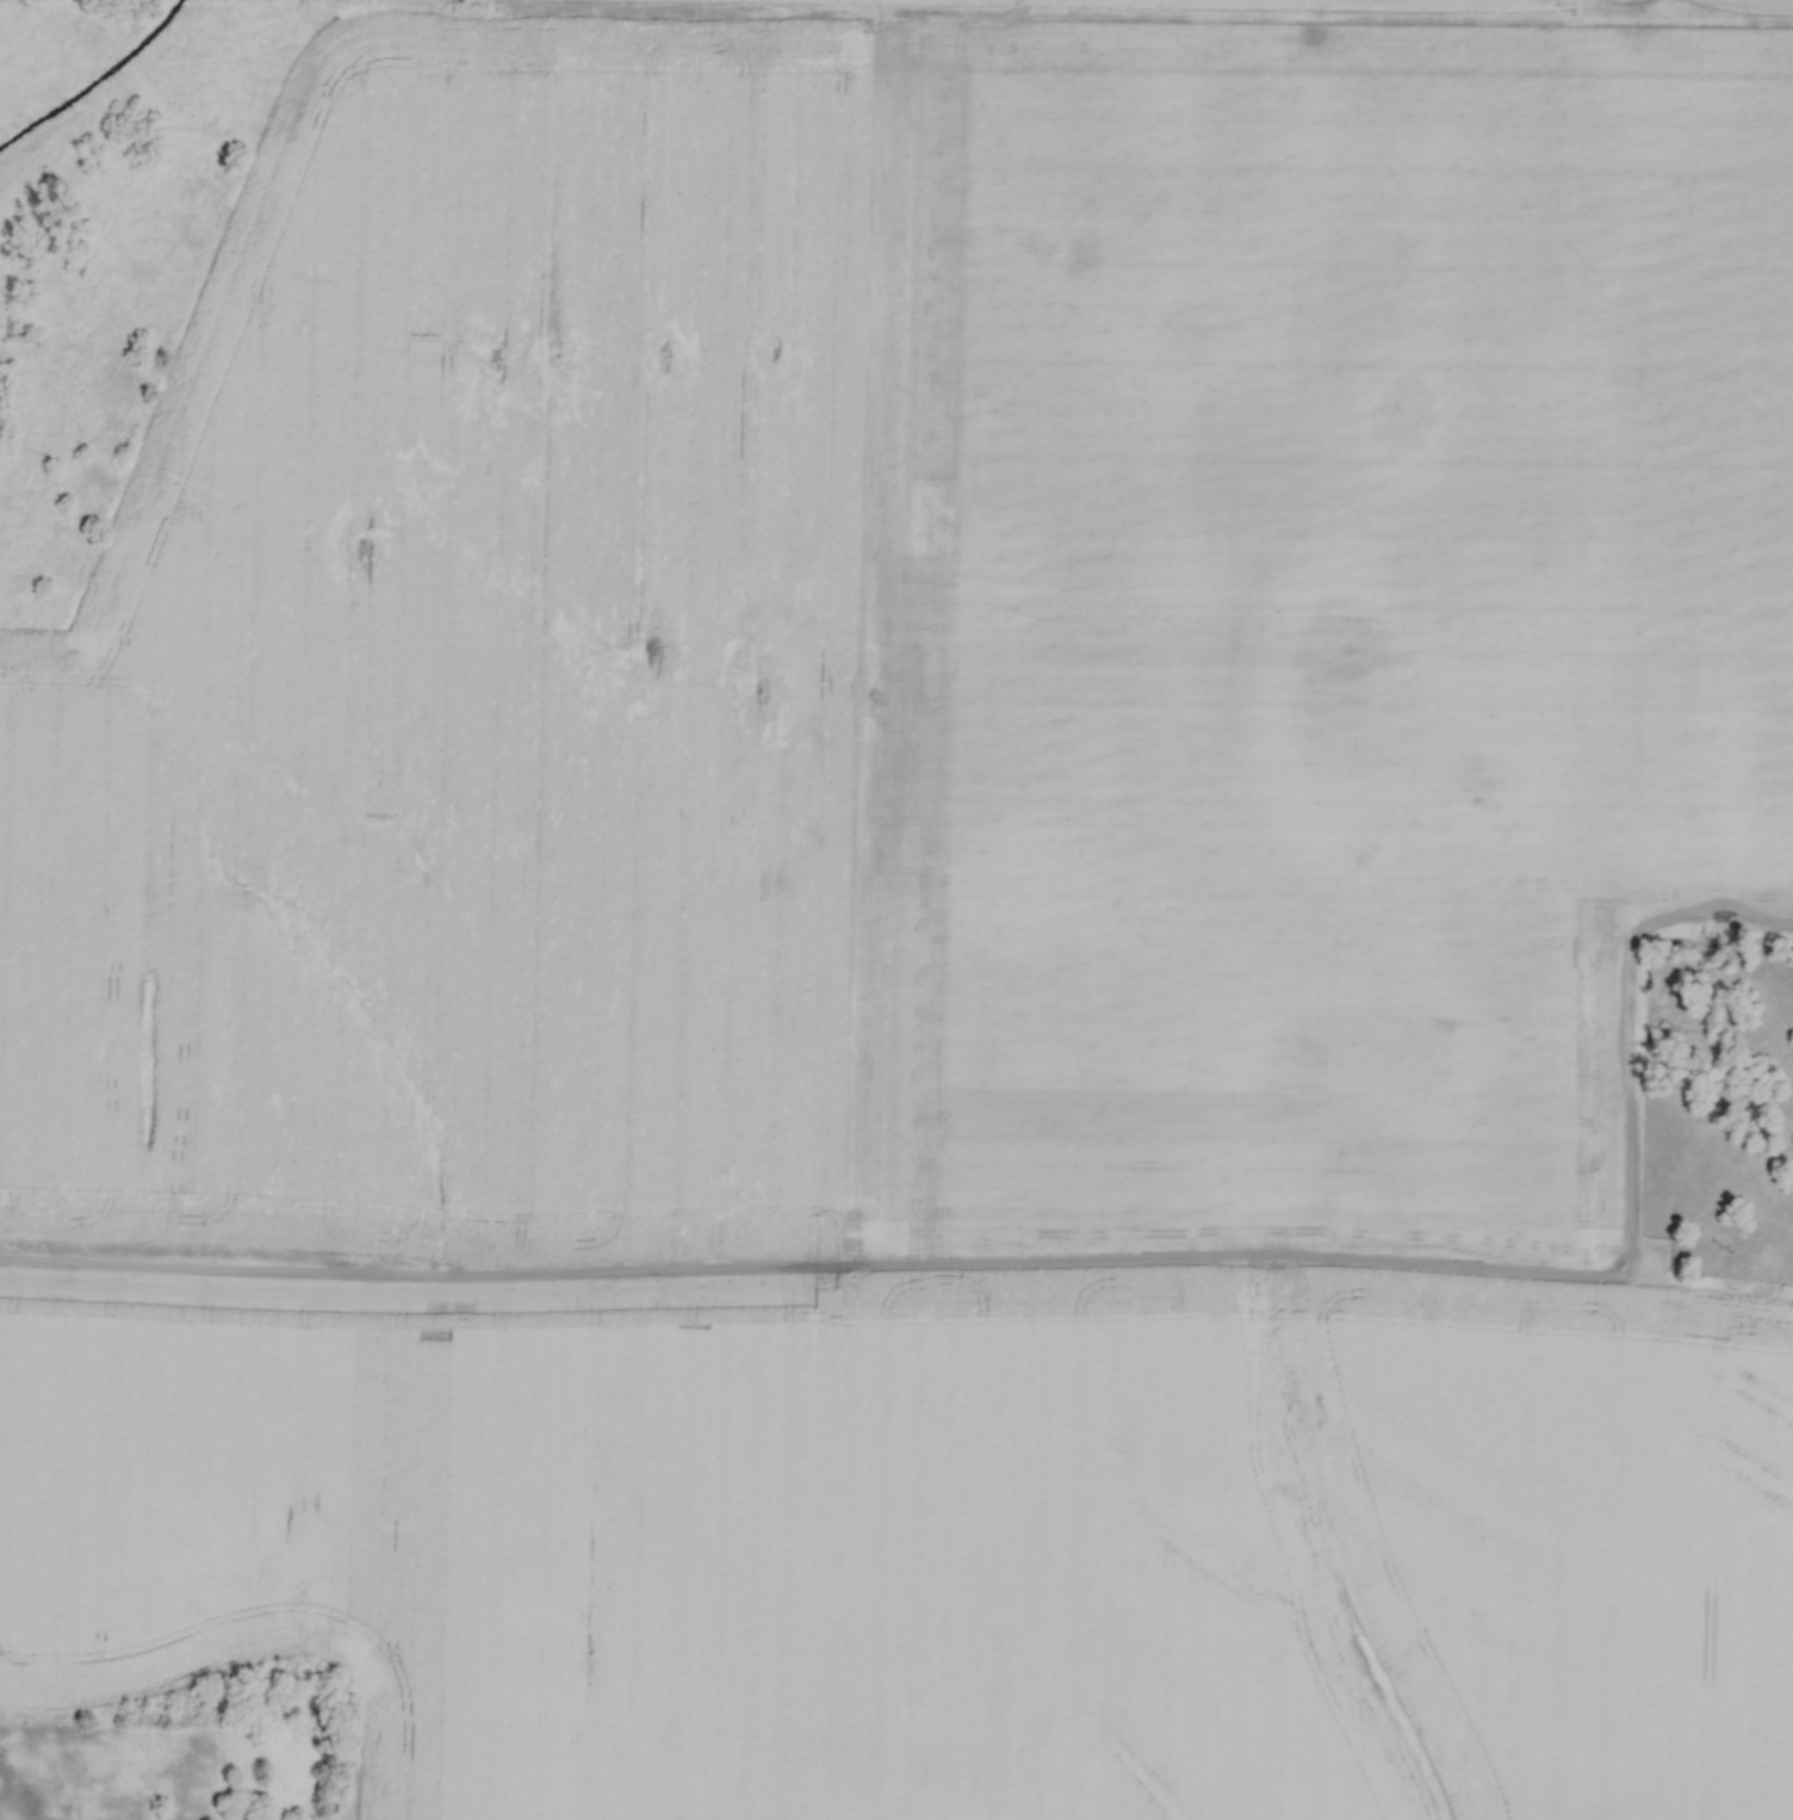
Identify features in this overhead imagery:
road: (1737, 1516)

